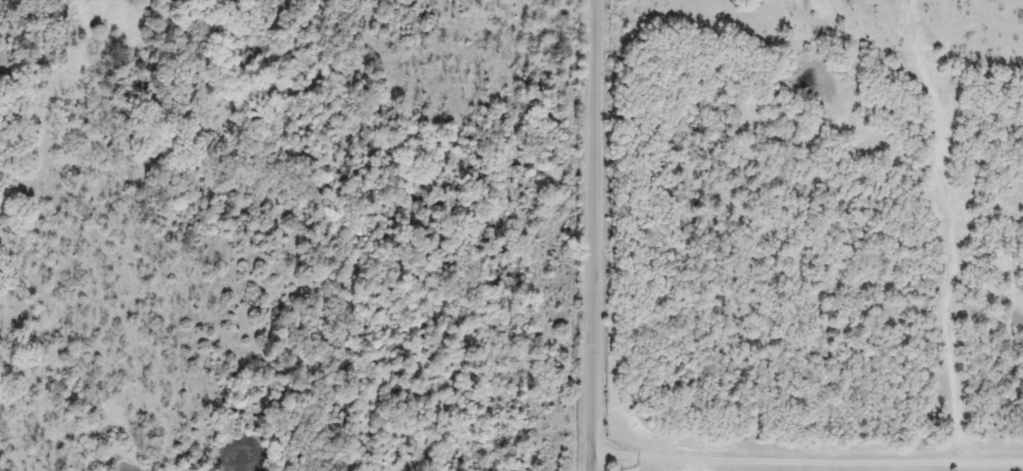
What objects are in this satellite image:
road: (589, 235)
road: (804, 460)

